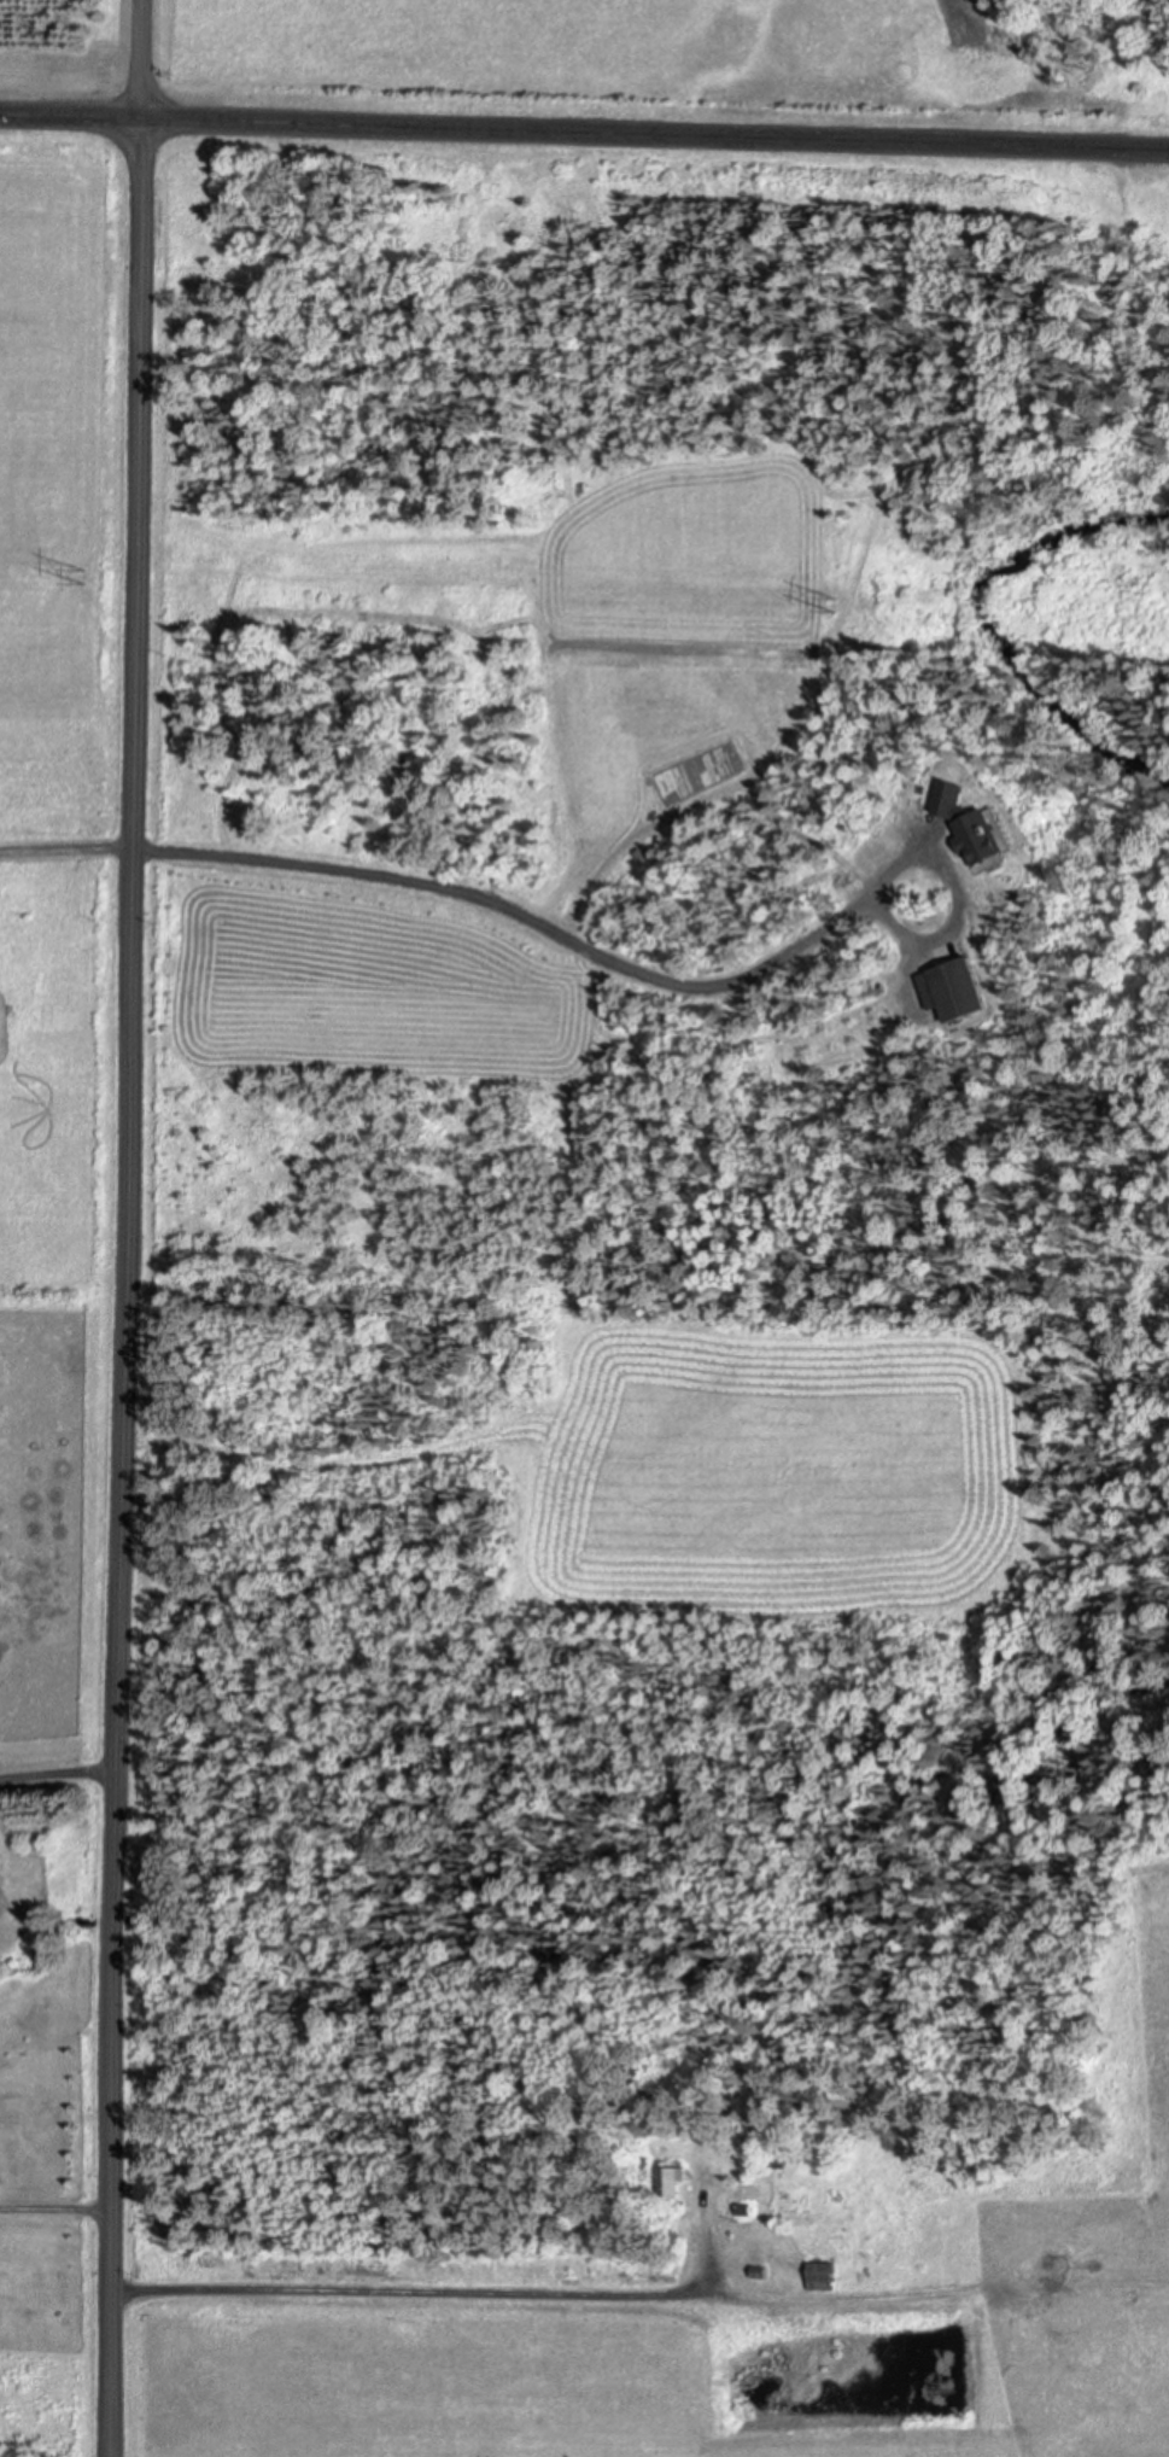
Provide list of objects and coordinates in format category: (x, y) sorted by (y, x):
road: (140, 60)
road: (584, 134)
power tower: (100, 577)
power tower: (829, 606)
river: (984, 630)
building: (955, 800)
building: (992, 834)
road: (910, 858)
road: (455, 891)
road: (936, 938)
building: (960, 990)
road: (127, 1289)
road: (58, 1774)
building: (782, 2157)
building: (676, 2179)
building: (747, 2205)
road: (55, 2211)
building: (746, 2214)
building: (761, 2268)
building: (823, 2271)
road: (429, 2290)

